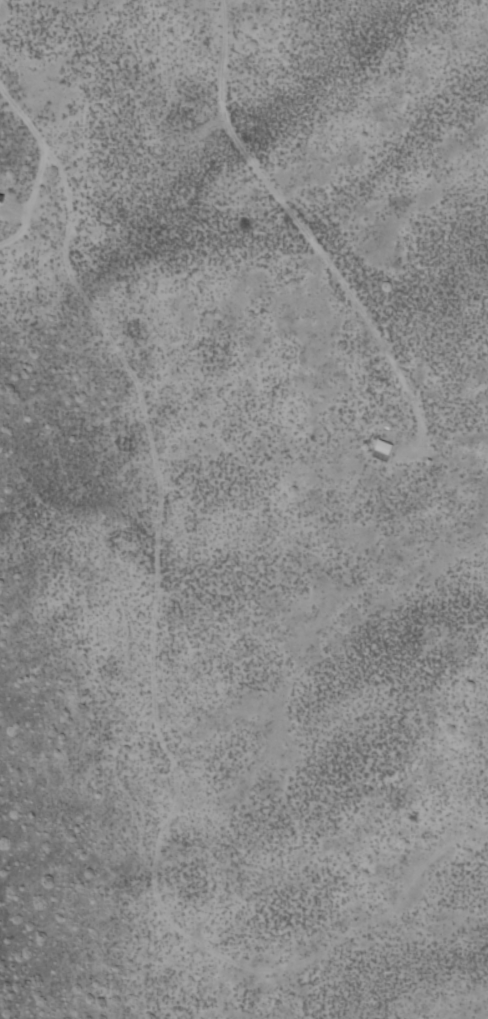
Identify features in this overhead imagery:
road: (84, 152)
building: (382, 445)

